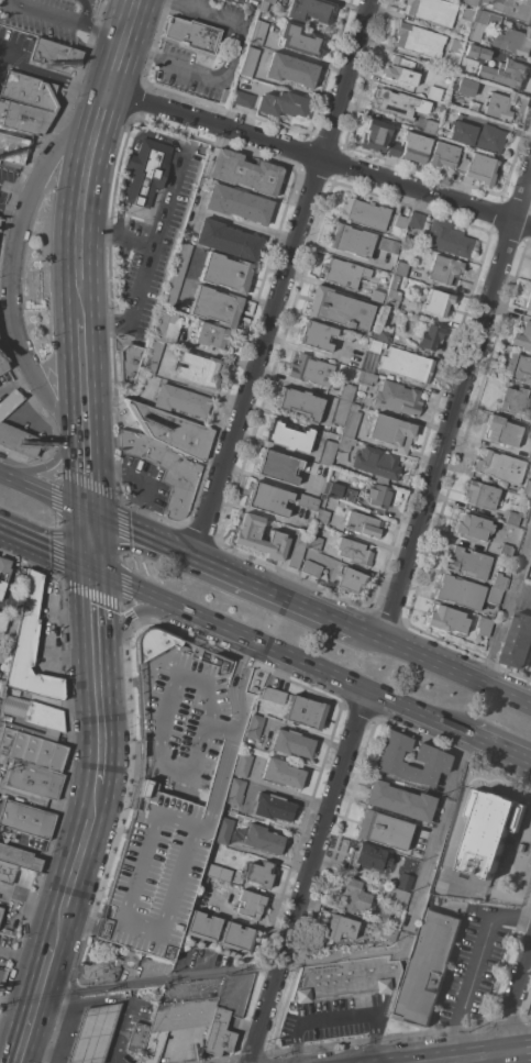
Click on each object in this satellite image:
building: (268, 1)
building: (471, 2)
building: (510, 7)
road: (84, 10)
building: (310, 10)
building: (431, 11)
building: (466, 13)
parking lot: (42, 18)
road: (74, 19)
building: (480, 24)
building: (257, 32)
building: (192, 34)
building: (300, 40)
building: (419, 40)
building: (513, 41)
road: (124, 45)
building: (456, 45)
building: (480, 52)
building: (52, 53)
building: (247, 62)
road: (224, 64)
building: (290, 70)
building: (401, 70)
building: (505, 71)
road: (54, 78)
building: (465, 87)
building: (29, 90)
building: (242, 99)
building: (396, 103)
building: (281, 104)
building: (499, 106)
building: (23, 118)
building: (430, 128)
building: (375, 135)
building: (478, 136)
building: (414, 147)
building: (13, 148)
building: (394, 150)
road: (130, 155)
building: (442, 155)
road: (321, 157)
building: (462, 165)
building: (482, 169)
building: (146, 170)
building: (245, 173)
road: (14, 190)
road: (81, 202)
building: (237, 203)
road: (10, 212)
building: (364, 214)
building: (416, 220)
building: (400, 222)
road: (155, 235)
building: (447, 239)
building: (226, 240)
building: (351, 241)
parking lot: (154, 244)
building: (387, 245)
building: (181, 259)
road: (10, 262)
building: (400, 268)
building: (444, 268)
building: (225, 273)
building: (343, 273)
building: (530, 276)
road: (285, 278)
building: (172, 291)
building: (392, 294)
building: (376, 297)
building: (528, 301)
building: (436, 302)
road: (135, 307)
building: (215, 307)
building: (339, 309)
building: (159, 324)
building: (169, 333)
building: (381, 334)
building: (211, 335)
building: (316, 335)
building: (430, 337)
building: (522, 337)
building: (375, 345)
building: (152, 357)
building: (129, 361)
building: (2, 362)
building: (407, 364)
building: (519, 368)
building: (198, 370)
building: (311, 370)
road: (85, 378)
building: (364, 379)
building: (346, 392)
building: (397, 398)
building: (180, 400)
building: (9, 401)
building: (515, 402)
building: (299, 403)
road: (456, 405)
building: (341, 412)
building: (351, 423)
building: (172, 430)
building: (502, 431)
building: (391, 432)
building: (289, 436)
building: (19, 441)
building: (345, 443)
building: (327, 453)
building: (530, 457)
building: (377, 463)
building: (278, 466)
building: (500, 466)
road: (48, 467)
building: (165, 469)
road: (89, 476)
building: (527, 487)
road: (45, 491)
building: (340, 491)
building: (480, 495)
building: (378, 498)
building: (267, 499)
building: (307, 502)
traffic signals: (90, 512)
building: (321, 516)
building: (512, 519)
building: (362, 524)
building: (472, 528)
building: (245, 535)
road: (90, 541)
building: (313, 543)
building: (297, 549)
road: (45, 550)
building: (505, 551)
building: (354, 552)
building: (530, 561)
building: (467, 563)
traffic signals: (91, 569)
road: (225, 569)
building: (314, 571)
building: (5, 577)
building: (350, 580)
building: (499, 582)
road: (523, 588)
building: (458, 591)
building: (493, 596)
road: (508, 608)
building: (29, 611)
road: (137, 616)
building: (3, 620)
building: (446, 620)
building: (483, 625)
building: (519, 641)
road: (272, 649)
road: (446, 664)
road: (98, 675)
building: (31, 676)
building: (273, 695)
building: (306, 712)
building: (32, 716)
road: (156, 718)
building: (255, 727)
building: (291, 743)
road: (491, 744)
building: (31, 746)
building: (431, 757)
building: (3, 760)
building: (243, 765)
building: (281, 773)
building: (34, 779)
building: (172, 788)
building: (234, 791)
building: (398, 801)
building: (272, 808)
building: (26, 819)
building: (381, 830)
building: (489, 830)
power substation: (489, 830)
building: (222, 831)
building: (262, 840)
power substation: (486, 841)
building: (19, 857)
building: (366, 857)
road: (79, 860)
building: (7, 872)
building: (218, 873)
building: (257, 873)
road: (309, 876)
building: (203, 878)
building: (402, 881)
building: (353, 896)
building: (395, 896)
building: (248, 904)
building: (0, 916)
building: (201, 927)
building: (339, 928)
building: (386, 932)
building: (236, 938)
road: (312, 961)
building: (425, 965)
building: (103, 970)
road: (473, 970)
building: (2, 977)
building: (345, 978)
road: (112, 998)
road: (38, 999)
road: (513, 1004)
building: (530, 1010)
building: (175, 1022)
road: (15, 1029)
building: (92, 1033)
gas station: (92, 1033)
building: (218, 1033)
building: (136, 1038)
road: (57, 1048)
road: (485, 1056)
road: (54, 1062)

